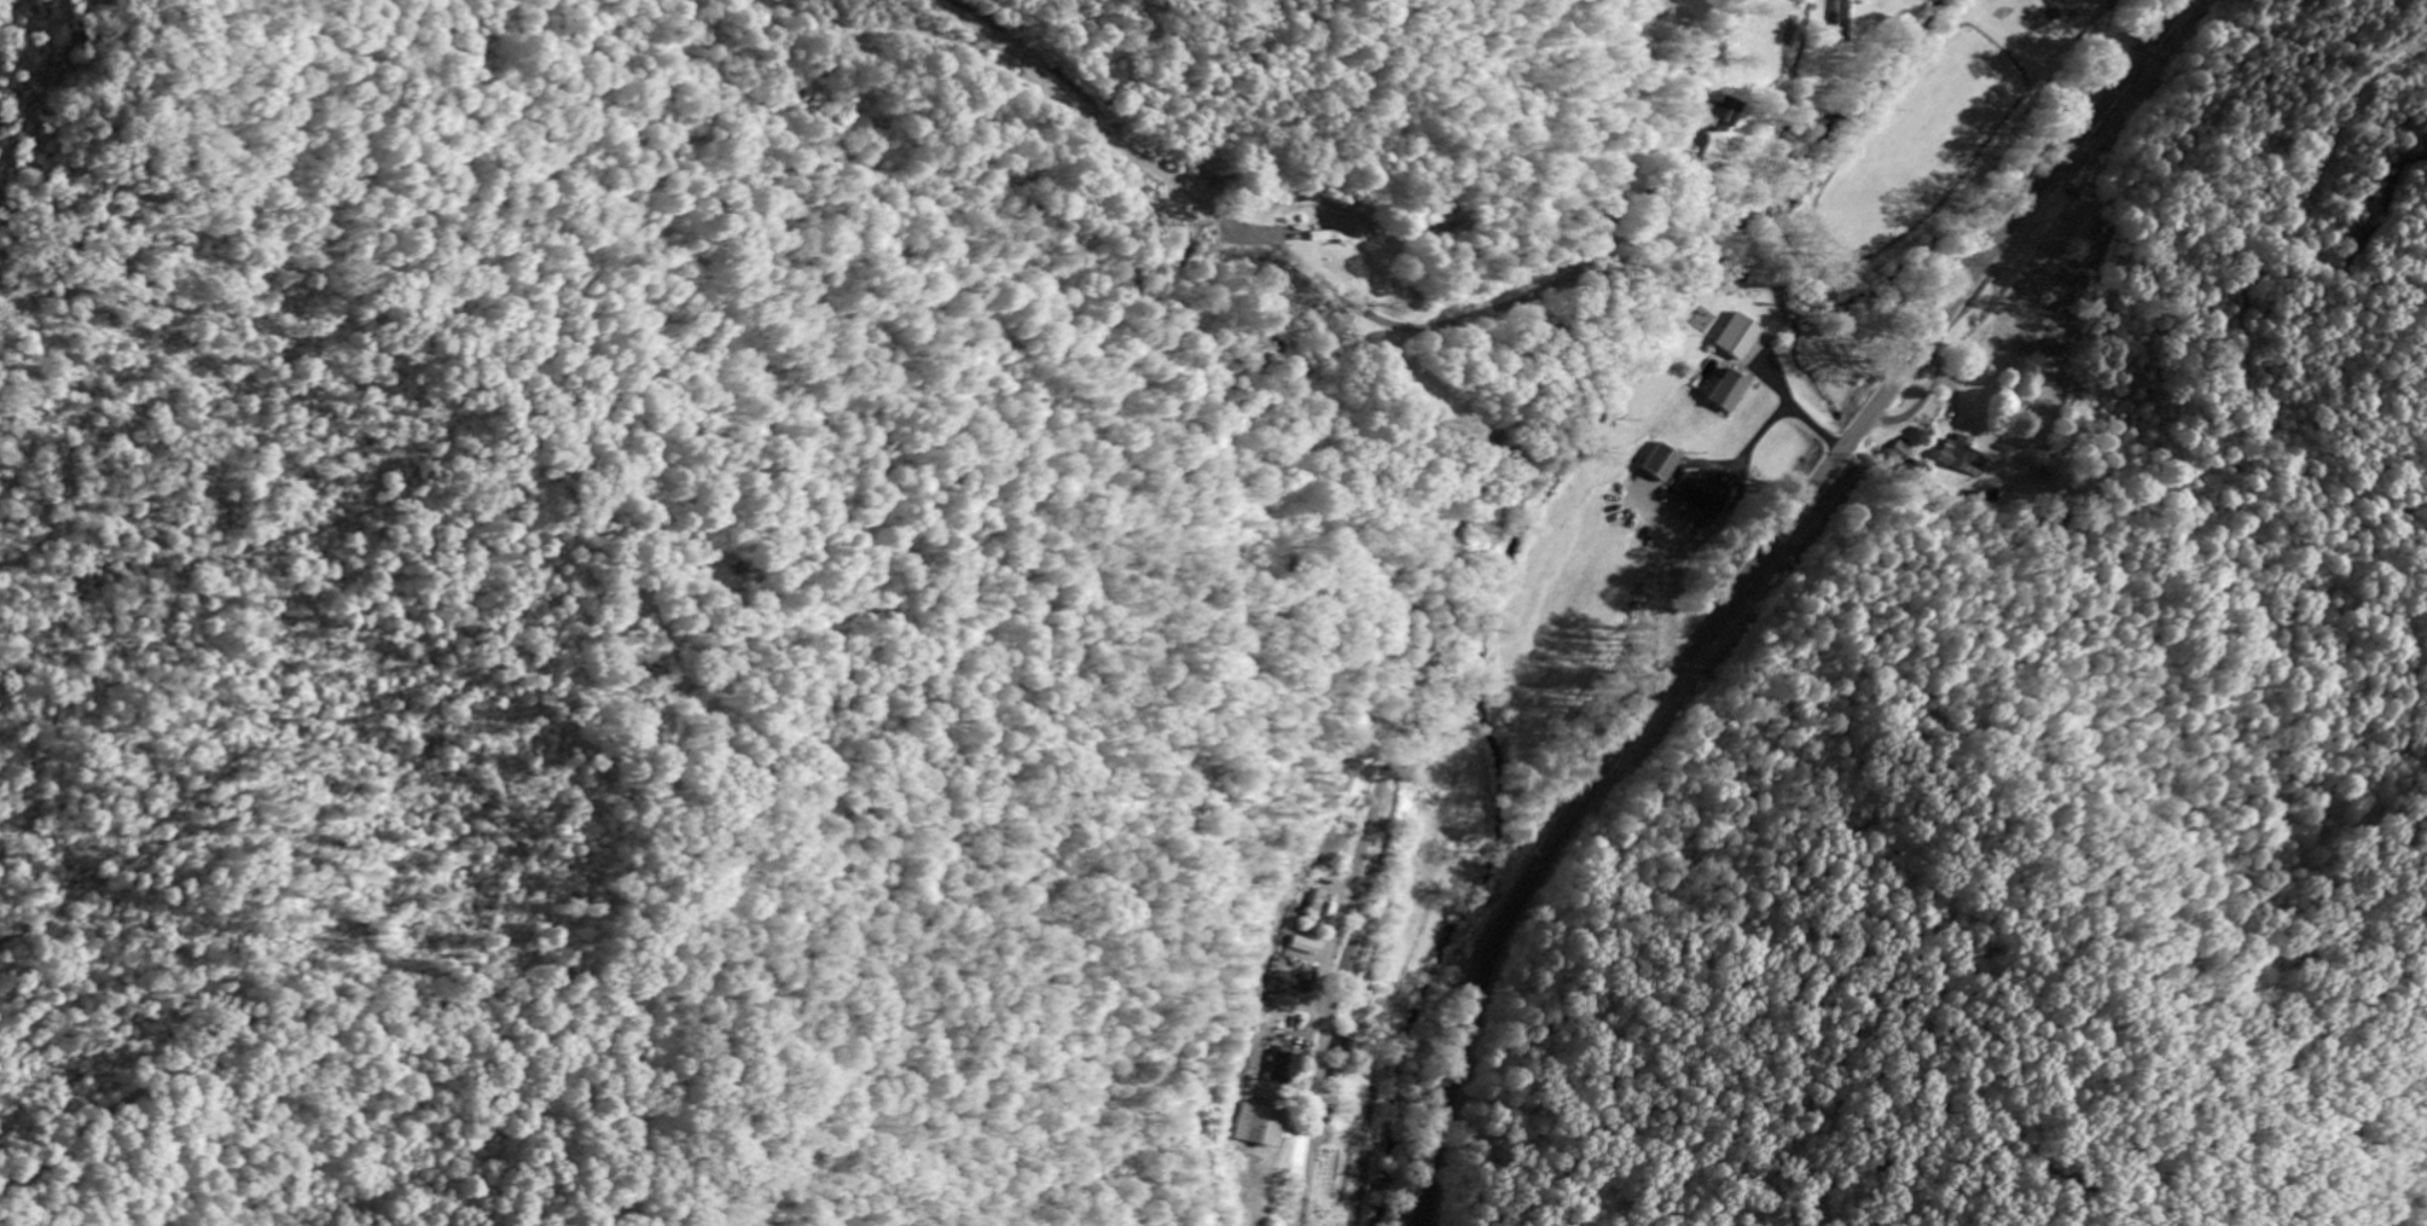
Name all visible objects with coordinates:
building: (1845, 21)
building: (1725, 115)
road: (1264, 232)
building: (1738, 337)
building: (1728, 391)
building: (1963, 458)
building: (1662, 464)
building: (1705, 494)
road: (1741, 583)
road: (1442, 586)
building: (1352, 778)
road: (402, 989)
building: (1285, 1069)
building: (1261, 1126)

